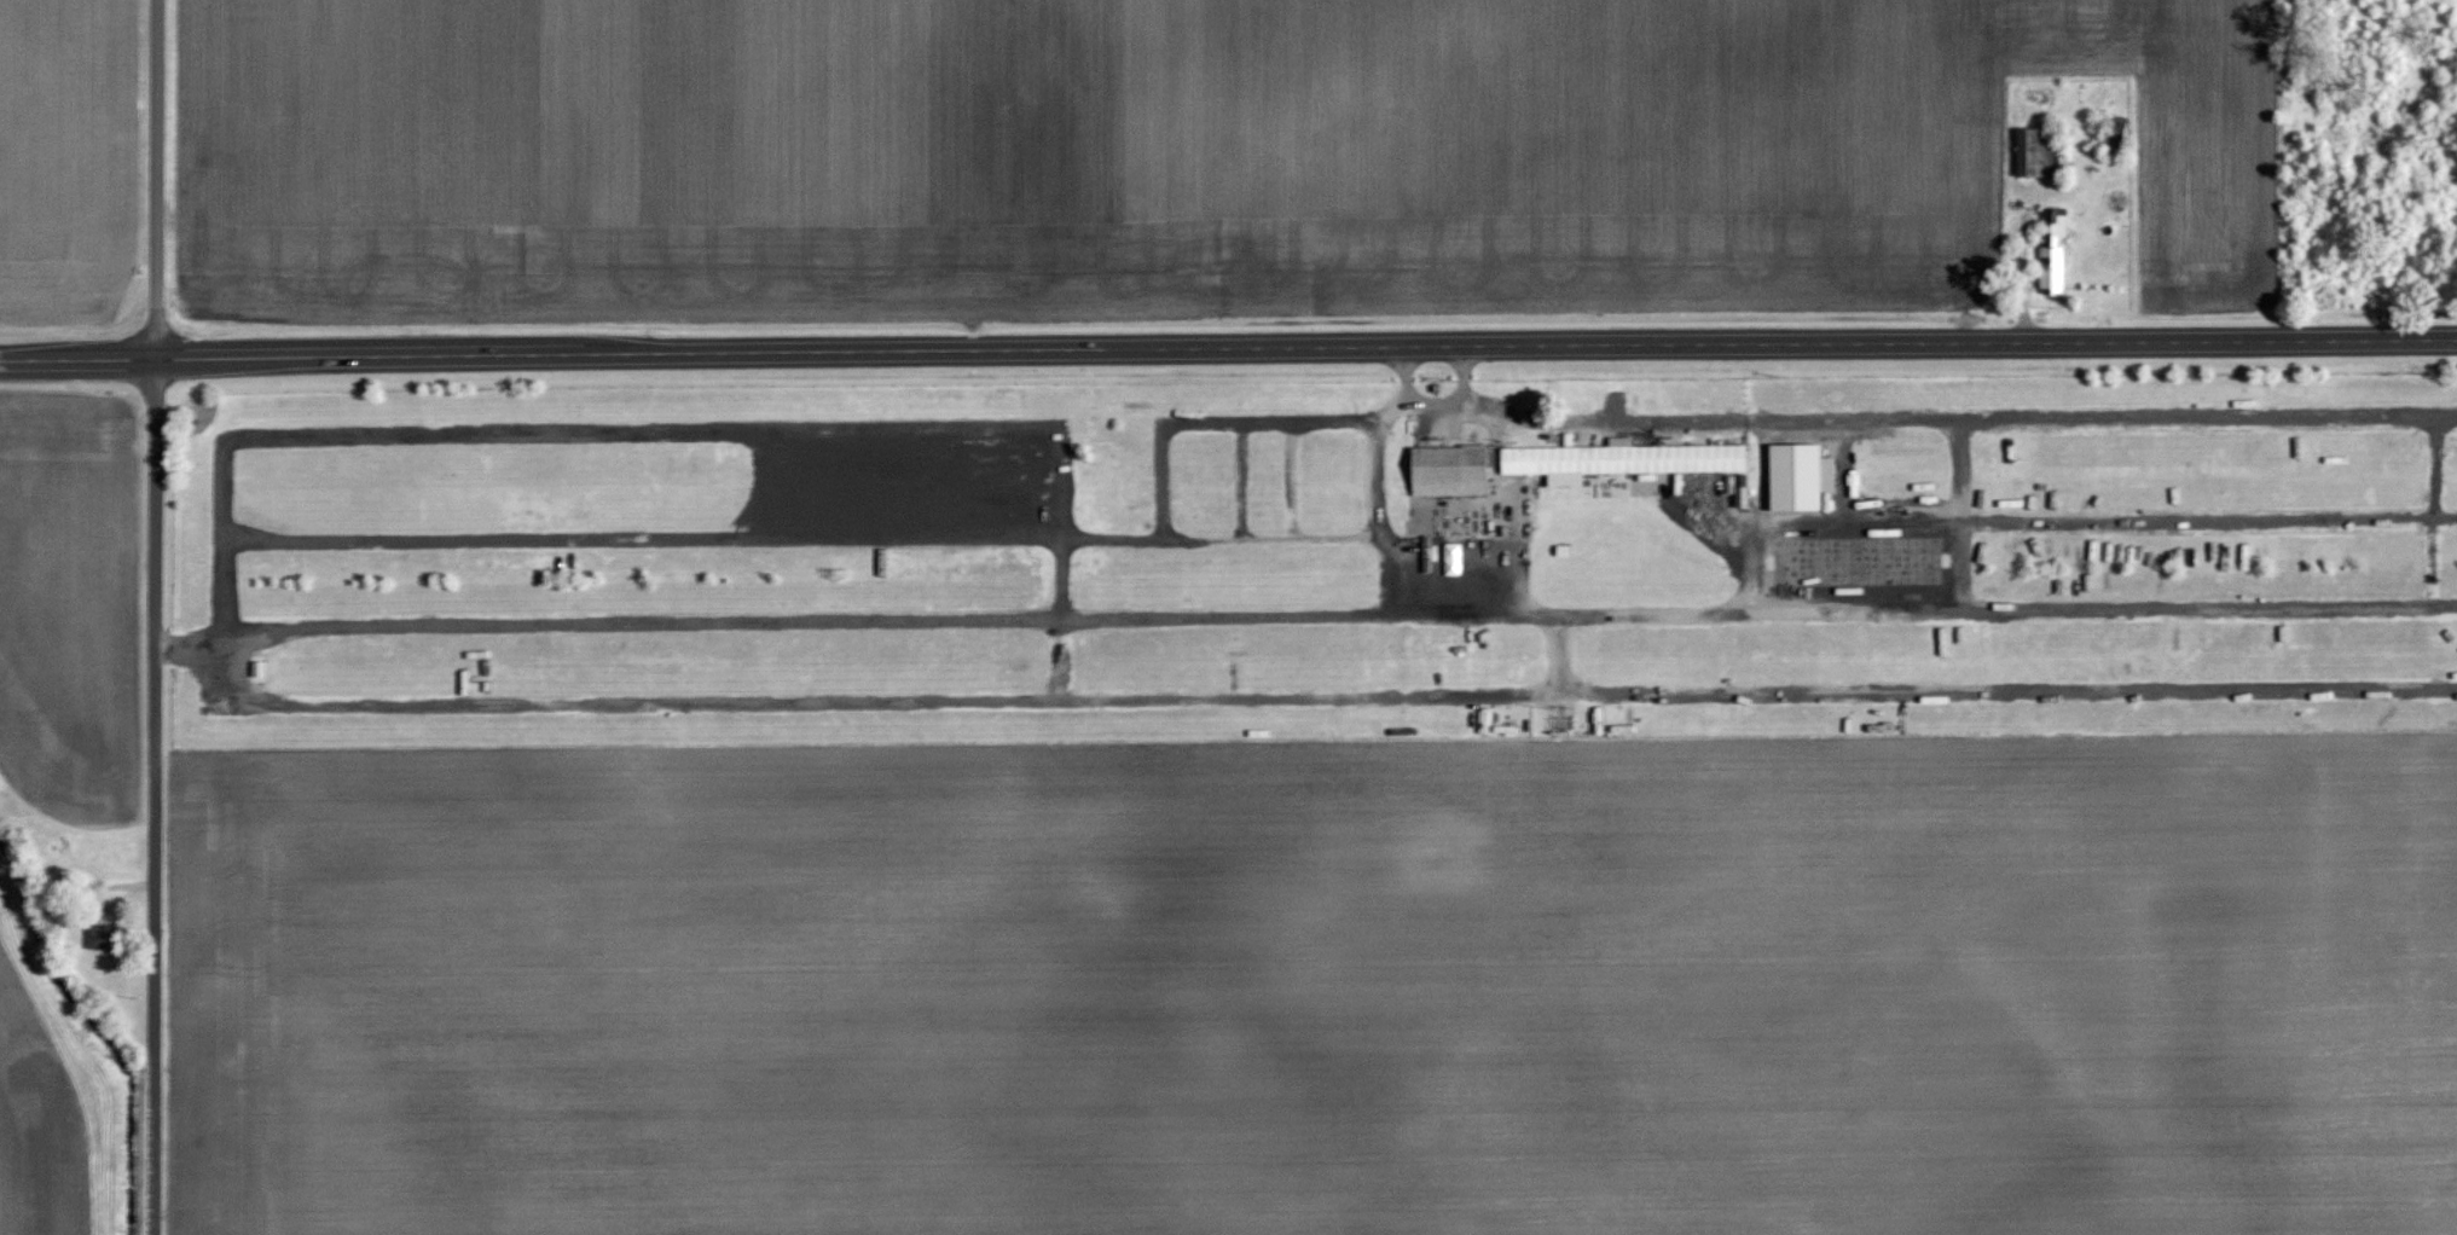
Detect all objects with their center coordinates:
building: (2034, 152)
building: (2052, 249)
road: (1228, 348)
building: (1622, 459)
building: (1449, 470)
building: (1829, 474)
building: (1795, 476)
road: (156, 616)
building: (257, 667)
building: (99, 937)

